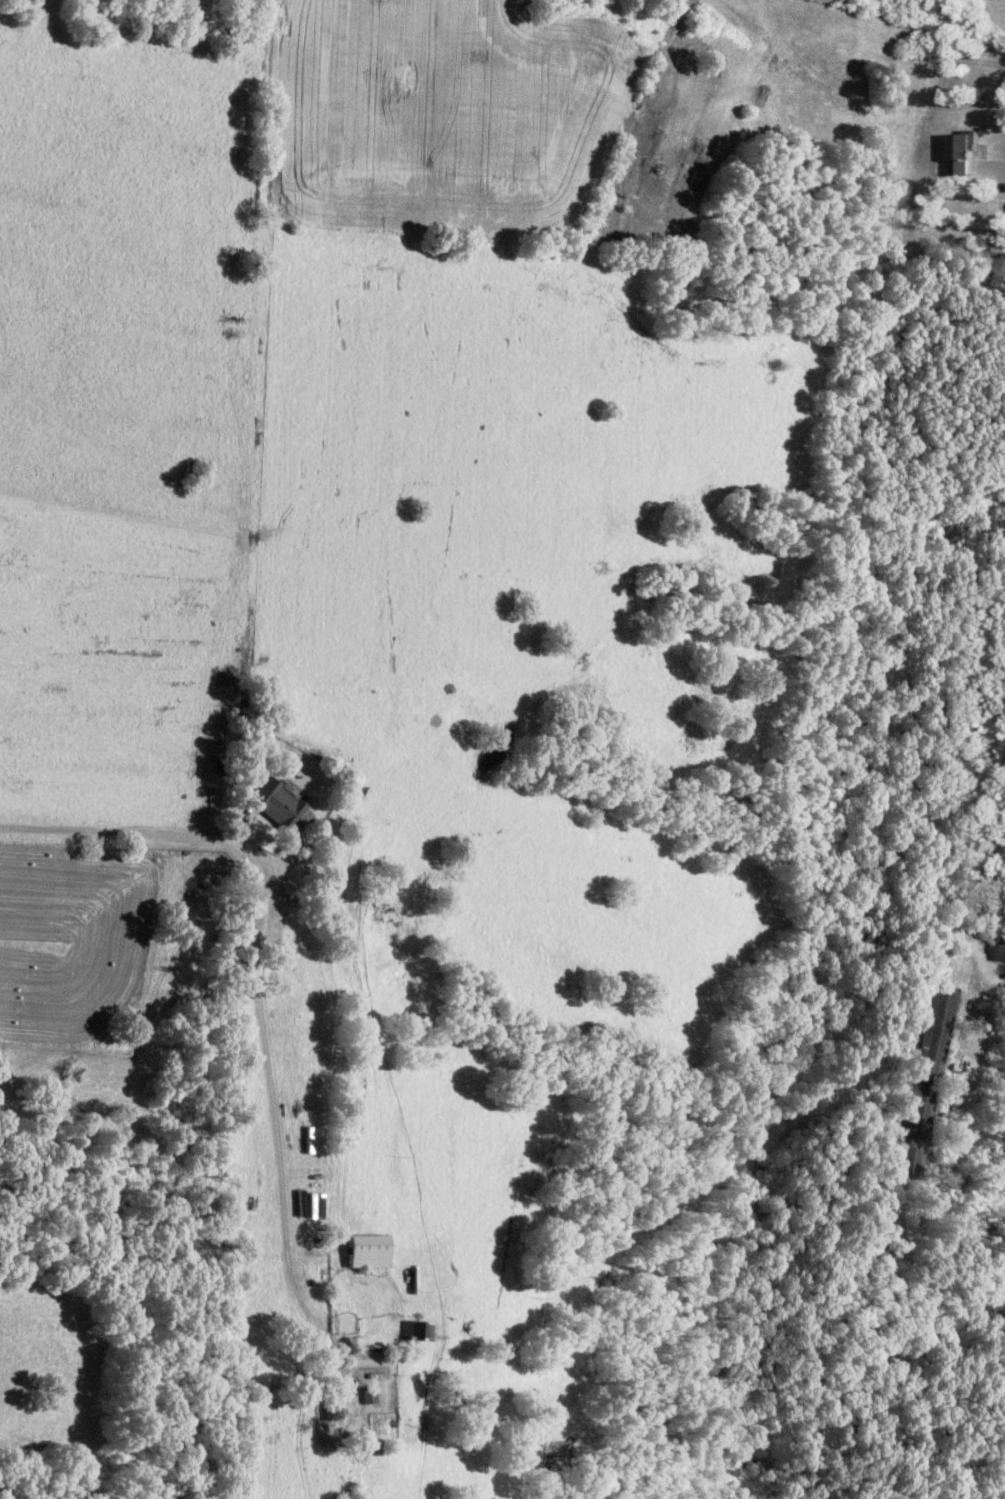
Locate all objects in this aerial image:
road: (996, 167)
building: (280, 808)
road: (983, 1038)
building: (932, 1051)
building: (371, 1253)
building: (426, 1334)
building: (367, 1398)

